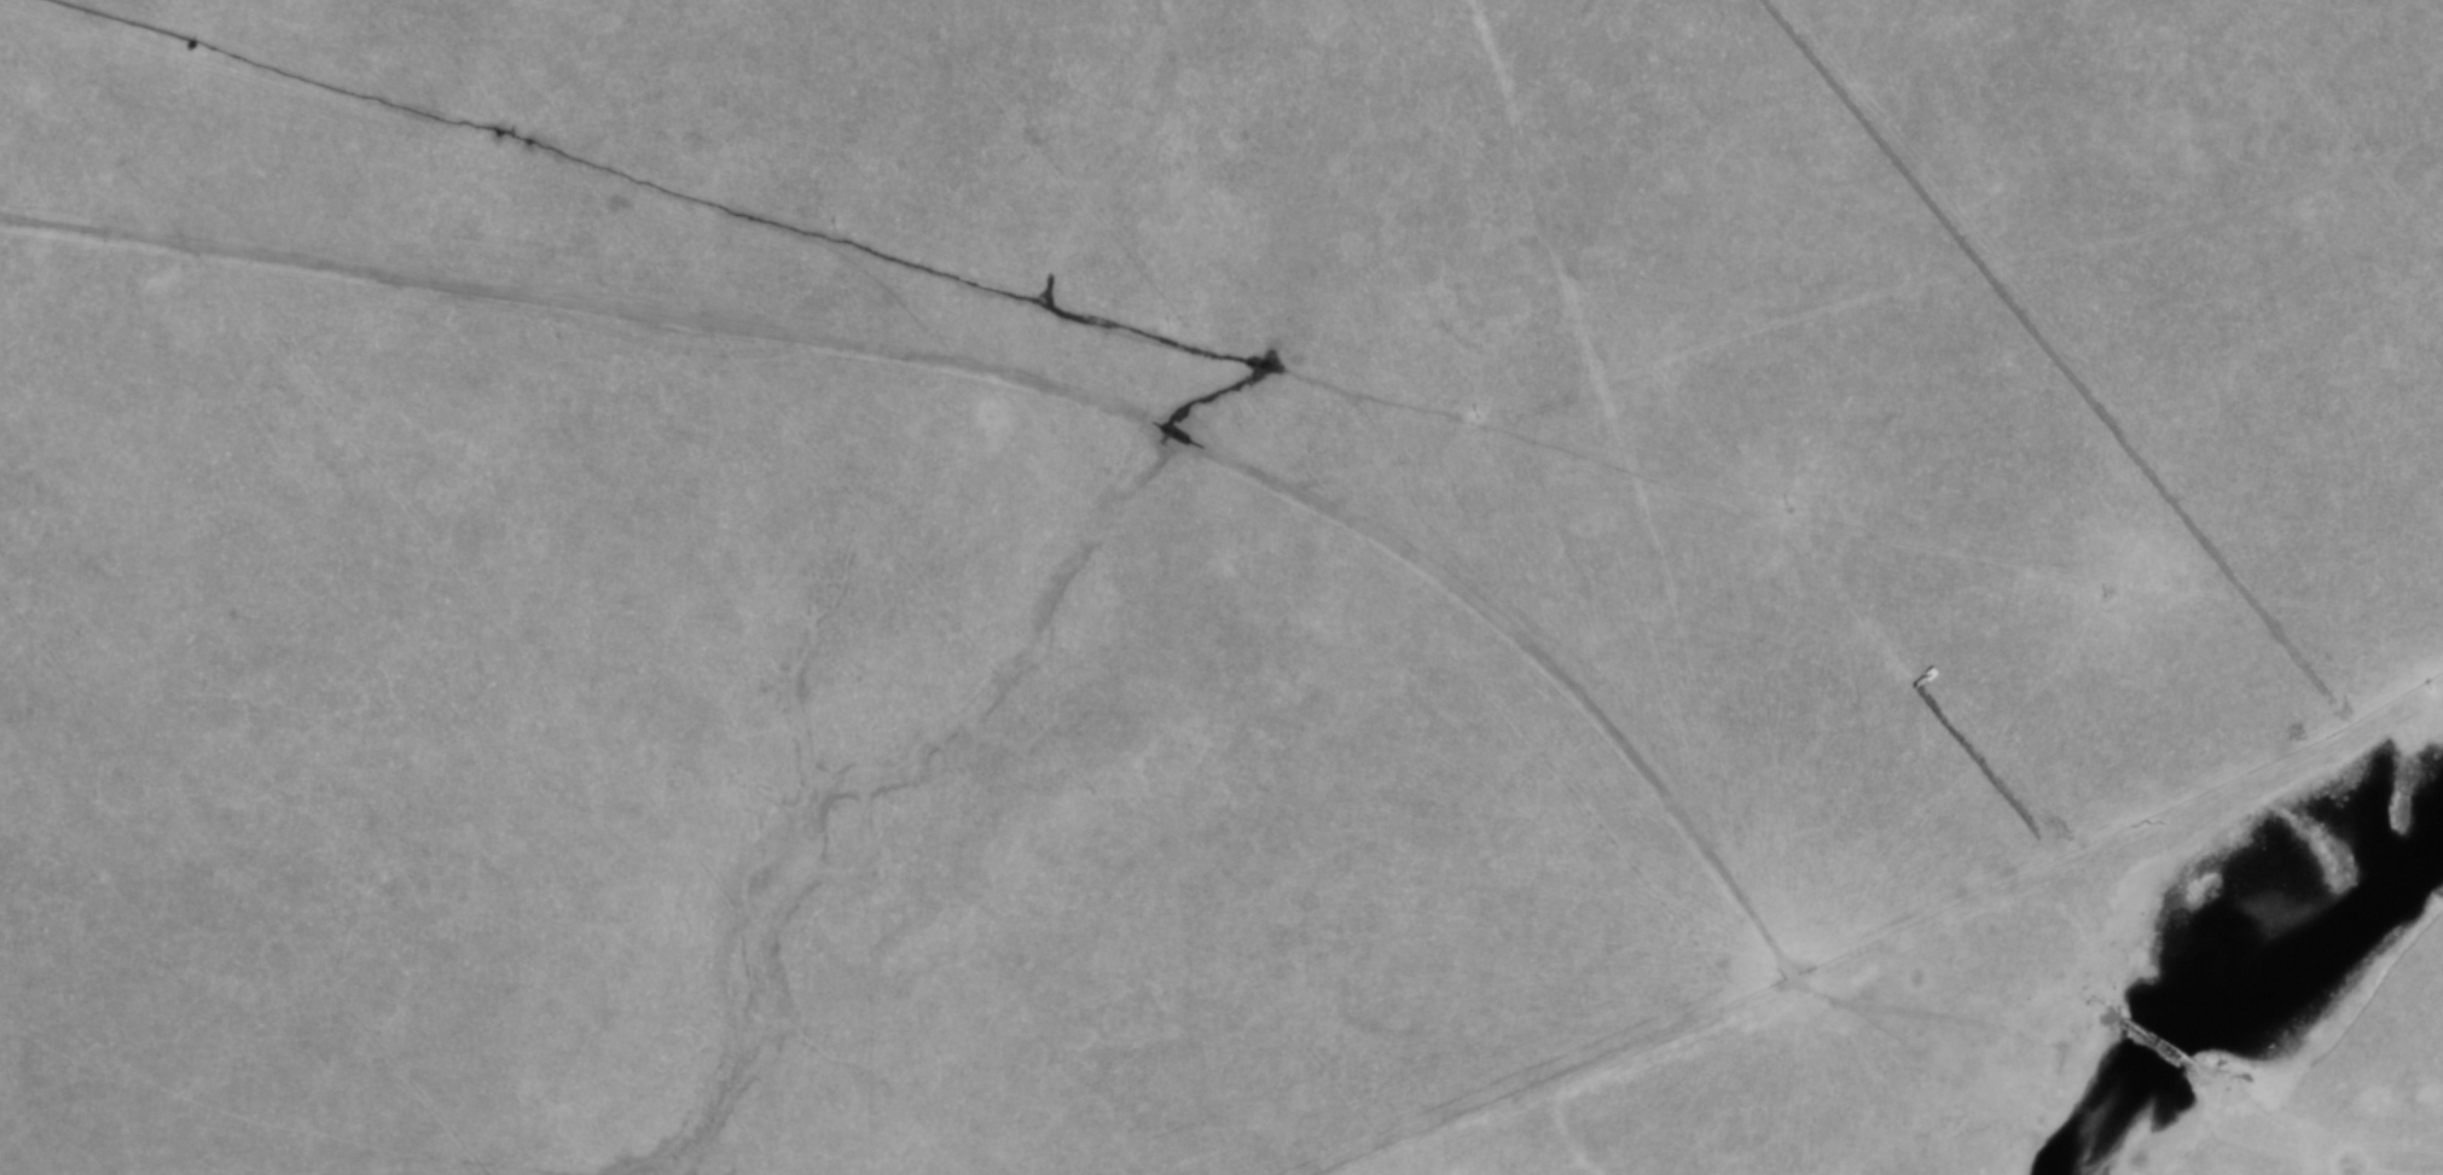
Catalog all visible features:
river: (2268, 990)

